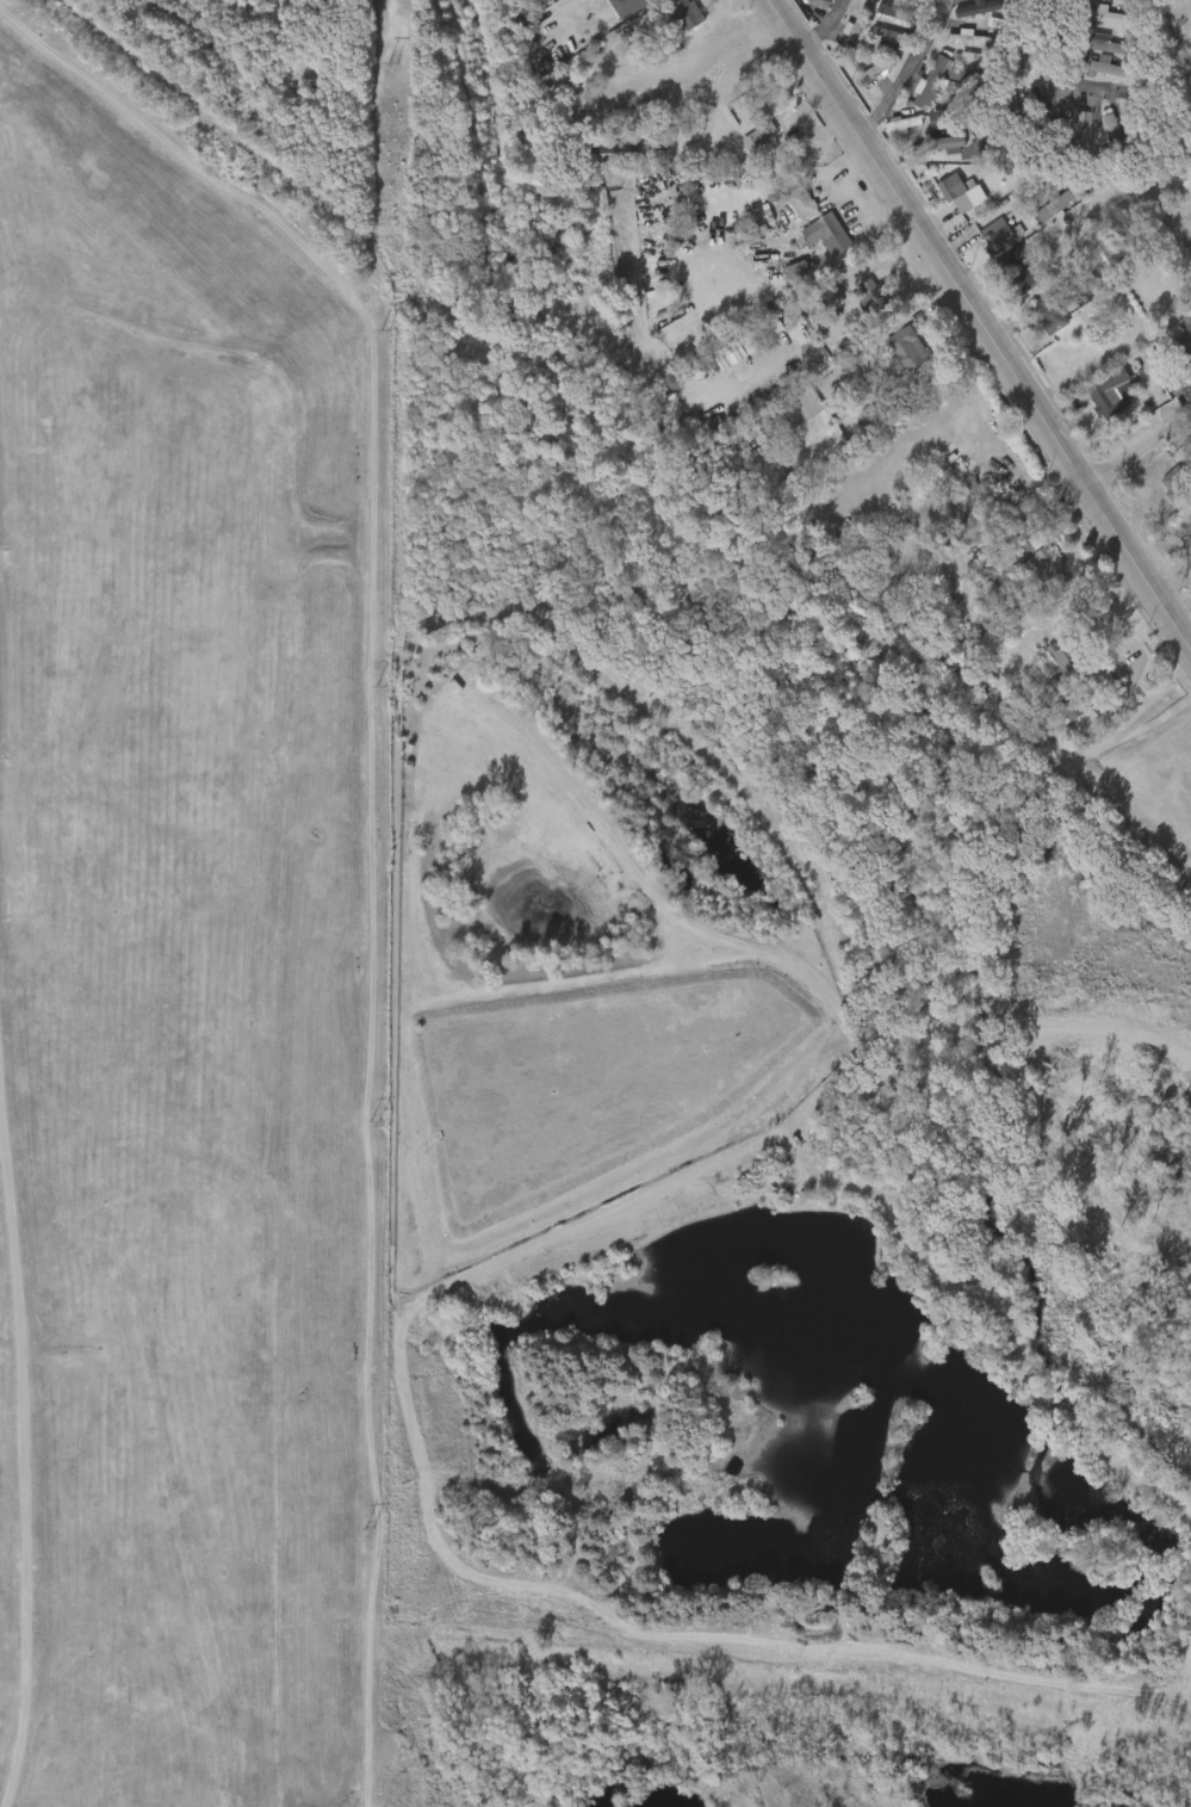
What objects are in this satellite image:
building: (823, 1)
building: (1017, 6)
building: (612, 10)
building: (683, 10)
building: (1110, 14)
building: (666, 19)
building: (874, 19)
road: (944, 20)
building: (1088, 25)
road: (826, 27)
building: (973, 39)
building: (1099, 44)
building: (962, 49)
building: (1109, 69)
building: (876, 70)
building: (1092, 75)
building: (922, 78)
building: (975, 78)
building: (932, 80)
road: (1022, 80)
building: (852, 82)
building: (943, 83)
road: (900, 89)
building: (1048, 110)
building: (951, 112)
building: (1022, 116)
building: (763, 124)
building: (1080, 131)
building: (886, 134)
building: (1100, 134)
building: (1114, 135)
building: (1065, 136)
building: (744, 140)
building: (938, 143)
building: (1021, 146)
building: (932, 151)
building: (799, 160)
building: (957, 192)
building: (800, 200)
building: (939, 202)
building: (1063, 205)
building: (820, 228)
building: (999, 234)
building: (805, 237)
building: (980, 245)
building: (1127, 248)
building: (826, 253)
building: (1009, 260)
building: (1024, 277)
building: (1007, 287)
building: (870, 293)
building: (855, 302)
building: (1054, 312)
road: (978, 318)
building: (1031, 322)
building: (1184, 338)
building: (904, 349)
building: (1173, 352)
building: (888, 358)
building: (1106, 394)
building: (801, 404)
building: (877, 416)
road: (1139, 445)
building: (1174, 482)
building: (1024, 543)
building: (1042, 567)
building: (1021, 568)
building: (926, 605)
building: (1068, 657)
building: (1048, 668)
building: (1061, 700)
building: (1055, 718)
road: (373, 819)
road: (32, 1474)

